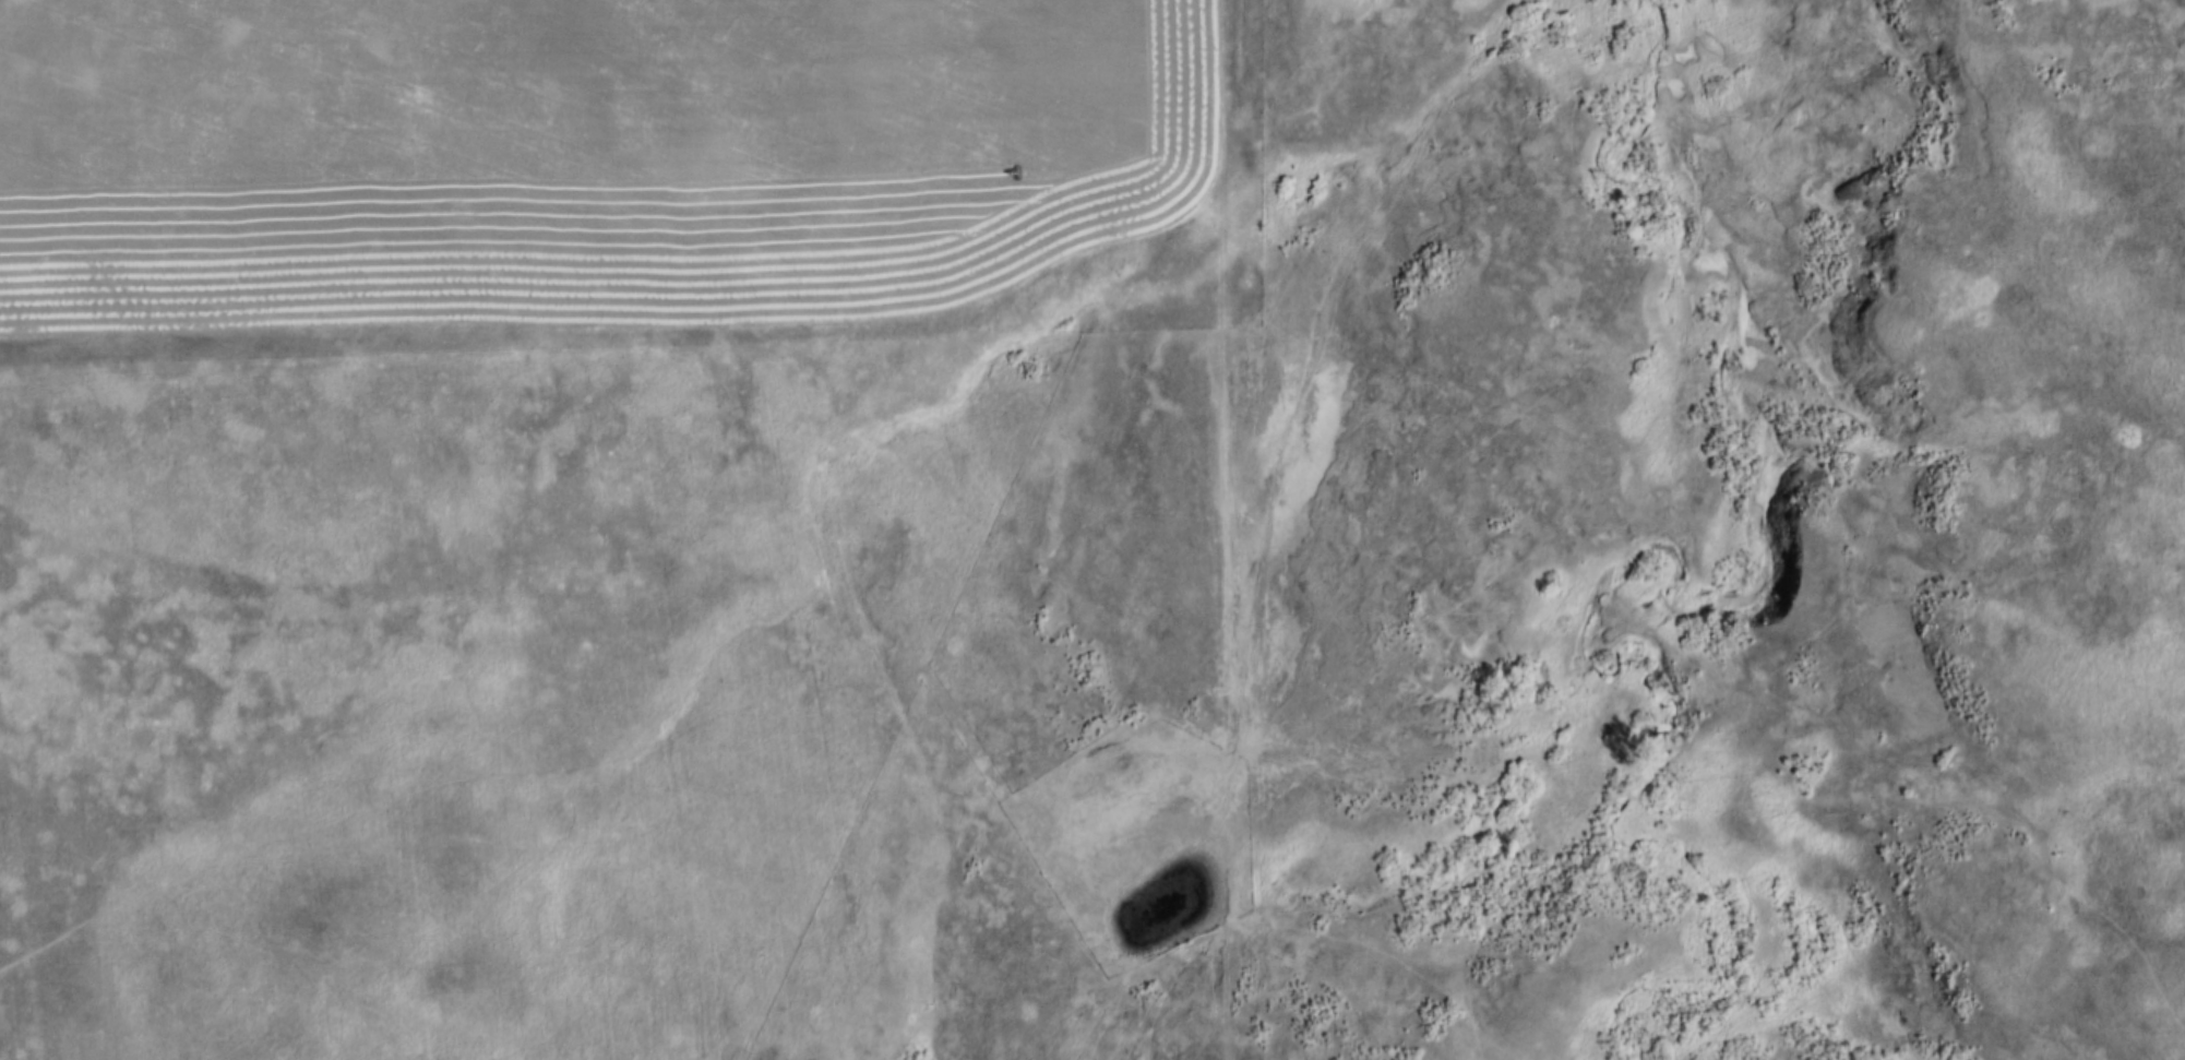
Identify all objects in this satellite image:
road: (1234, 996)

